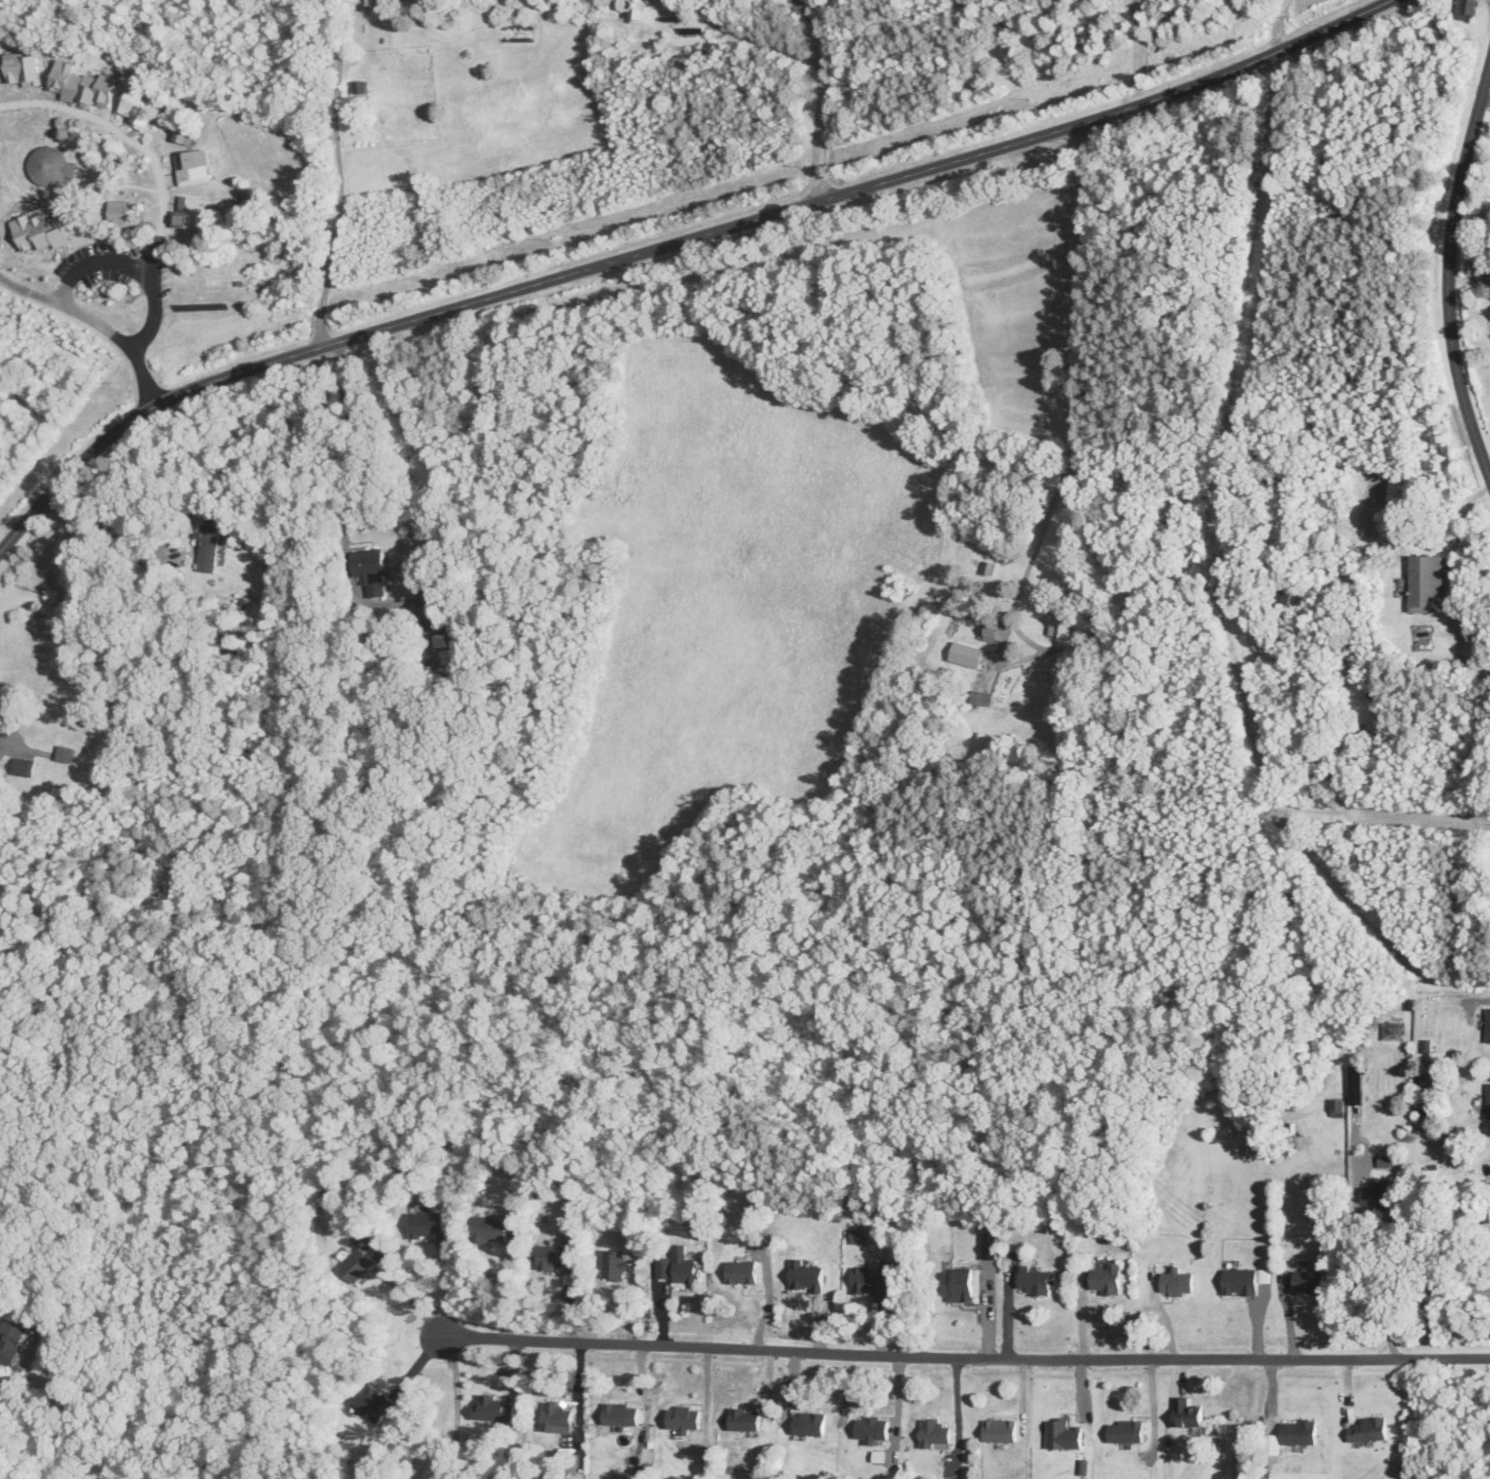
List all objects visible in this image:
building: (634, 4)
building: (368, 5)
building: (1465, 10)
building: (656, 34)
building: (47, 60)
building: (360, 90)
road: (821, 97)
road: (1485, 100)
building: (184, 136)
road: (338, 173)
road: (155, 178)
building: (120, 211)
road: (672, 242)
road: (94, 266)
road: (1448, 267)
road: (92, 324)
road: (1048, 514)
building: (208, 548)
road: (140, 549)
building: (368, 566)
building: (989, 568)
building: (1427, 584)
road: (353, 585)
building: (1284, 602)
building: (1061, 621)
building: (993, 633)
building: (966, 655)
building: (1358, 746)
road: (26, 748)
building: (64, 755)
building: (23, 768)
road: (1476, 1000)
building: (1488, 1026)
building: (1393, 1031)
building: (1488, 1101)
building: (1338, 1108)
building: (1377, 1194)
building: (427, 1226)
building: (489, 1230)
road: (1353, 1239)
building: (553, 1257)
building: (615, 1265)
building: (357, 1266)
building: (684, 1266)
building: (663, 1269)
building: (742, 1273)
building: (807, 1277)
building: (1106, 1280)
building: (871, 1281)
building: (1036, 1282)
building: (1240, 1282)
building: (1309, 1282)
building: (1177, 1283)
building: (958, 1285)
road: (446, 1287)
road: (507, 1290)
road: (407, 1293)
building: (12, 1342)
road: (965, 1356)
building: (374, 1403)
road: (456, 1405)
road: (1149, 1405)
building: (494, 1408)
building: (1187, 1412)
building: (620, 1414)
building: (557, 1416)
building: (683, 1418)
building: (745, 1419)
building: (809, 1424)
building: (872, 1429)
building: (1369, 1429)
building: (1000, 1430)
building: (1126, 1431)
building: (1299, 1432)
building: (936, 1434)
building: (1059, 1434)

